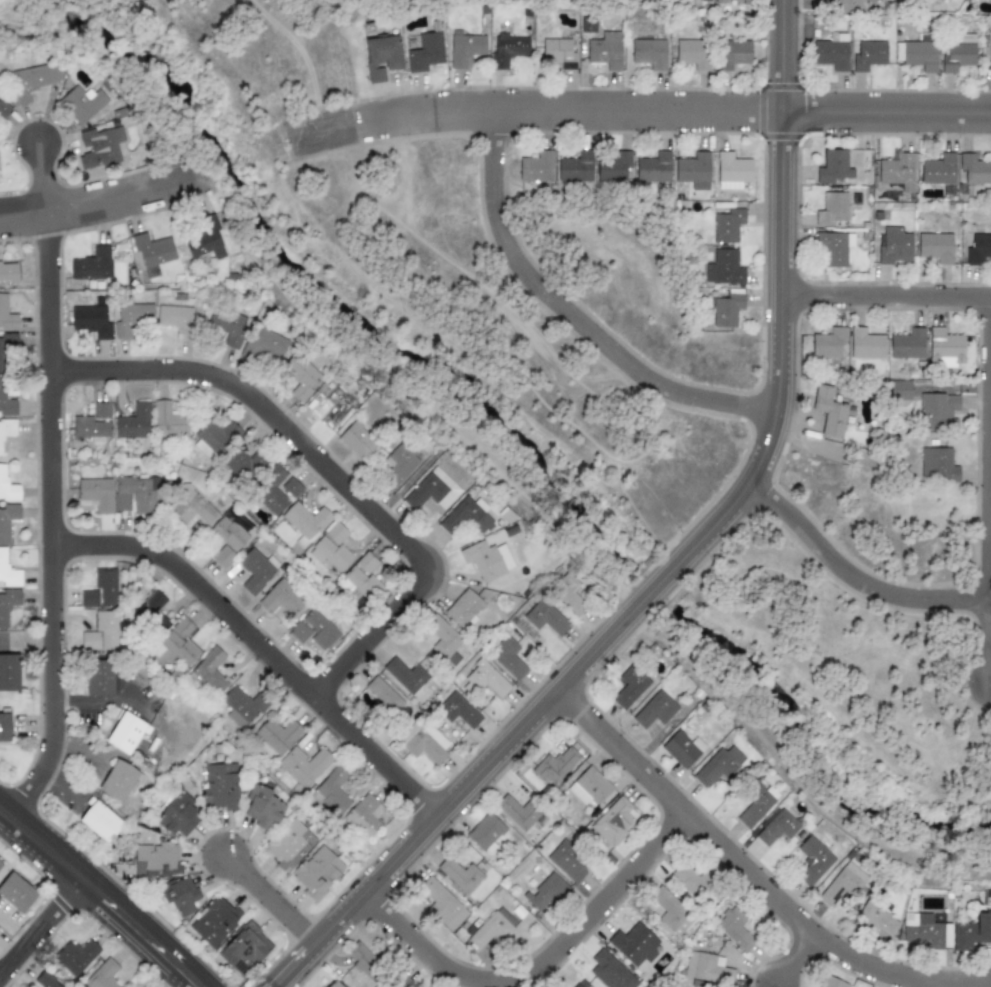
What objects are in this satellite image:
building: (703, 0)
building: (719, 1)
building: (746, 2)
building: (838, 6)
building: (588, 27)
building: (465, 49)
building: (507, 49)
building: (605, 51)
building: (990, 51)
building: (831, 52)
building: (425, 53)
building: (558, 53)
building: (649, 53)
building: (958, 53)
building: (693, 54)
building: (732, 54)
road: (781, 55)
building: (868, 55)
road: (302, 56)
building: (920, 56)
building: (381, 57)
road: (111, 77)
building: (34, 80)
building: (81, 103)
road: (565, 110)
building: (3, 111)
road: (885, 113)
road: (318, 133)
street lamp: (958, 138)
building: (99, 146)
building: (535, 167)
building: (575, 167)
building: (613, 167)
building: (833, 167)
building: (653, 168)
building: (733, 168)
building: (938, 170)
building: (974, 170)
building: (693, 171)
building: (898, 172)
road: (41, 178)
road: (101, 202)
building: (831, 209)
building: (727, 226)
building: (206, 241)
building: (894, 246)
building: (934, 248)
building: (833, 249)
building: (978, 249)
building: (152, 250)
building: (92, 265)
building: (723, 268)
building: (8, 273)
road: (885, 296)
building: (727, 308)
building: (6, 315)
road: (319, 316)
road: (570, 316)
building: (90, 320)
building: (175, 320)
building: (228, 326)
building: (827, 343)
building: (865, 344)
building: (907, 345)
building: (266, 346)
building: (944, 348)
building: (7, 350)
building: (301, 376)
building: (900, 391)
building: (6, 402)
building: (337, 405)
building: (937, 411)
building: (101, 412)
building: (829, 412)
building: (168, 420)
building: (134, 422)
building: (88, 427)
building: (6, 431)
building: (214, 439)
building: (357, 441)
building: (401, 462)
building: (243, 464)
building: (937, 465)
road: (330, 474)
road: (408, 484)
building: (7, 487)
building: (291, 487)
road: (988, 490)
building: (272, 491)
building: (432, 491)
building: (139, 493)
building: (96, 494)
building: (121, 503)
building: (190, 508)
road: (540, 516)
building: (466, 517)
building: (7, 520)
road: (49, 522)
building: (305, 523)
building: (229, 532)
building: (336, 533)
road: (58, 546)
building: (330, 554)
building: (222, 557)
building: (486, 560)
building: (256, 570)
building: (8, 572)
building: (361, 578)
road: (663, 578)
road: (851, 578)
building: (100, 590)
building: (569, 594)
building: (281, 598)
building: (8, 605)
building: (464, 610)
building: (153, 611)
building: (545, 618)
road: (989, 628)
building: (320, 630)
building: (299, 632)
building: (101, 633)
building: (443, 639)
building: (181, 642)
road: (264, 652)
building: (507, 658)
building: (209, 672)
building: (9, 673)
building: (405, 675)
building: (98, 678)
building: (486, 679)
building: (629, 687)
building: (382, 695)
building: (242, 706)
building: (655, 710)
building: (458, 711)
building: (4, 728)
building: (125, 733)
building: (277, 734)
building: (422, 742)
building: (682, 749)
road: (620, 752)
building: (303, 765)
building: (555, 766)
building: (716, 768)
road: (792, 772)
building: (118, 781)
building: (220, 786)
building: (590, 788)
building: (331, 793)
building: (756, 805)
building: (262, 807)
building: (517, 812)
building: (178, 815)
building: (365, 816)
building: (100, 822)
building: (614, 822)
building: (777, 828)
building: (485, 831)
building: (288, 844)
road: (40, 845)
building: (815, 859)
building: (156, 860)
building: (567, 862)
building: (0, 865)
building: (317, 872)
building: (459, 875)
building: (692, 881)
building: (842, 884)
building: (547, 892)
building: (16, 893)
building: (179, 895)
road: (269, 899)
building: (442, 904)
building: (671, 911)
building: (875, 920)
building: (214, 921)
road: (41, 926)
road: (109, 929)
building: (492, 929)
building: (735, 929)
building: (921, 930)
road: (139, 933)
building: (972, 933)
building: (946, 936)
road: (818, 938)
building: (634, 945)
road: (127, 947)
building: (244, 949)
building: (75, 956)
road: (793, 959)
building: (363, 960)
road: (294, 965)
road: (538, 965)
building: (707, 969)
building: (609, 972)
building: (102, 975)
road: (174, 979)
building: (45, 980)
building: (399, 981)
building: (830, 982)
building: (334, 984)
building: (576, 985)

